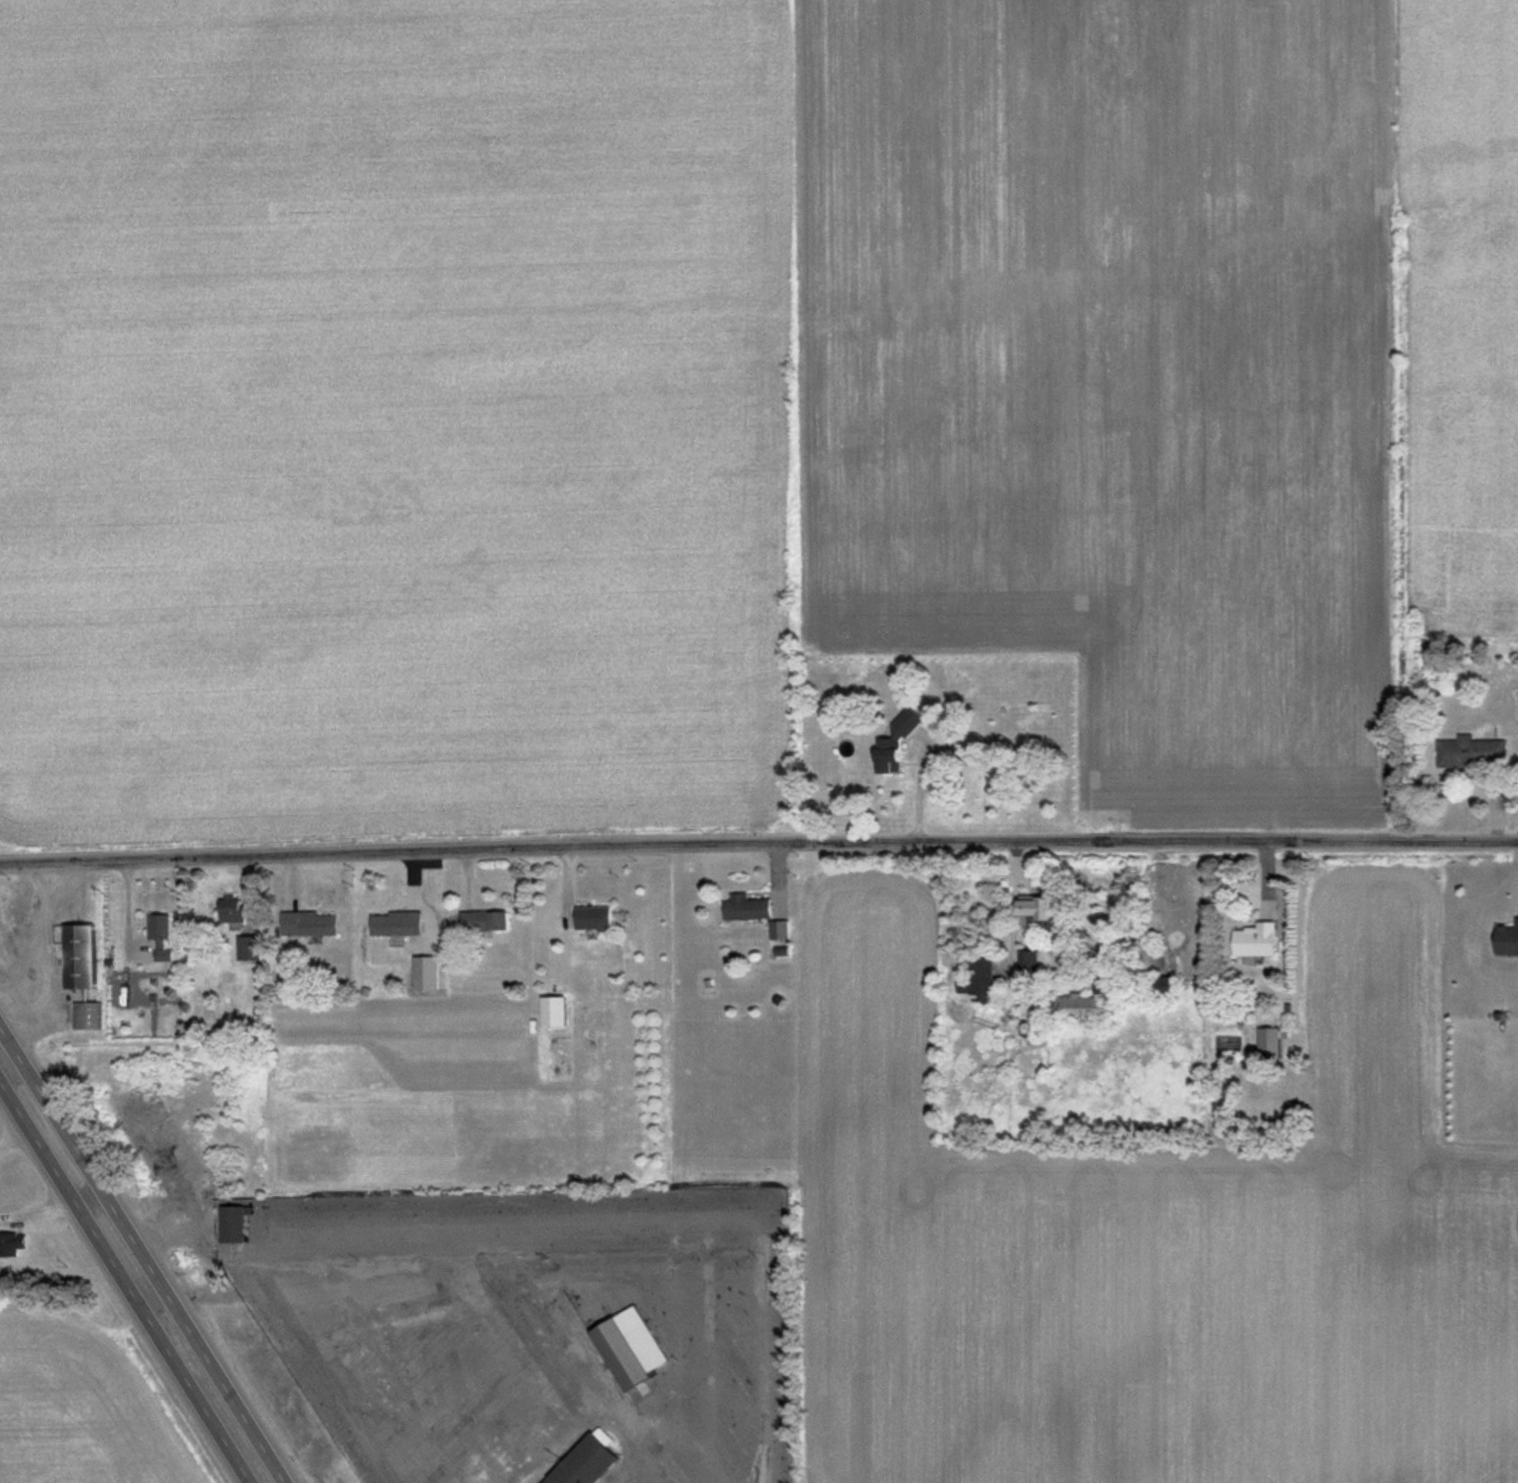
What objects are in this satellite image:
building: (897, 742)
building: (1472, 752)
road: (758, 837)
building: (747, 908)
building: (232, 909)
building: (1037, 910)
building: (594, 916)
road: (1013, 918)
building: (485, 920)
building: (309, 923)
building: (397, 923)
building: (780, 929)
building: (161, 937)
building: (1506, 939)
building: (1256, 940)
building: (249, 947)
building: (79, 956)
building: (1029, 963)
building: (979, 979)
building: (1167, 986)
building: (1080, 1008)
building: (554, 1009)
building: (86, 1015)
building: (1269, 1043)
building: (232, 1224)
building: (9, 1245)
road: (145, 1250)
road: (124, 1282)
building: (630, 1348)
building: (586, 1462)

